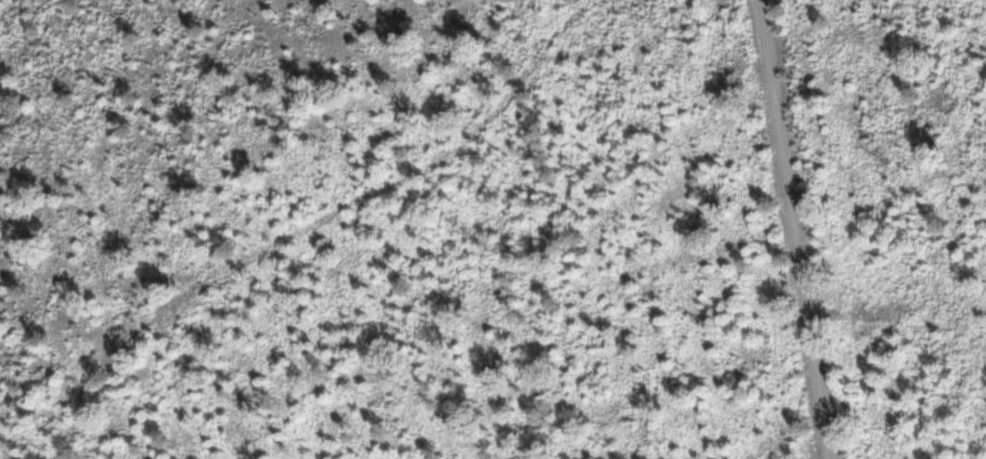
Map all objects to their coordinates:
road: (795, 229)

